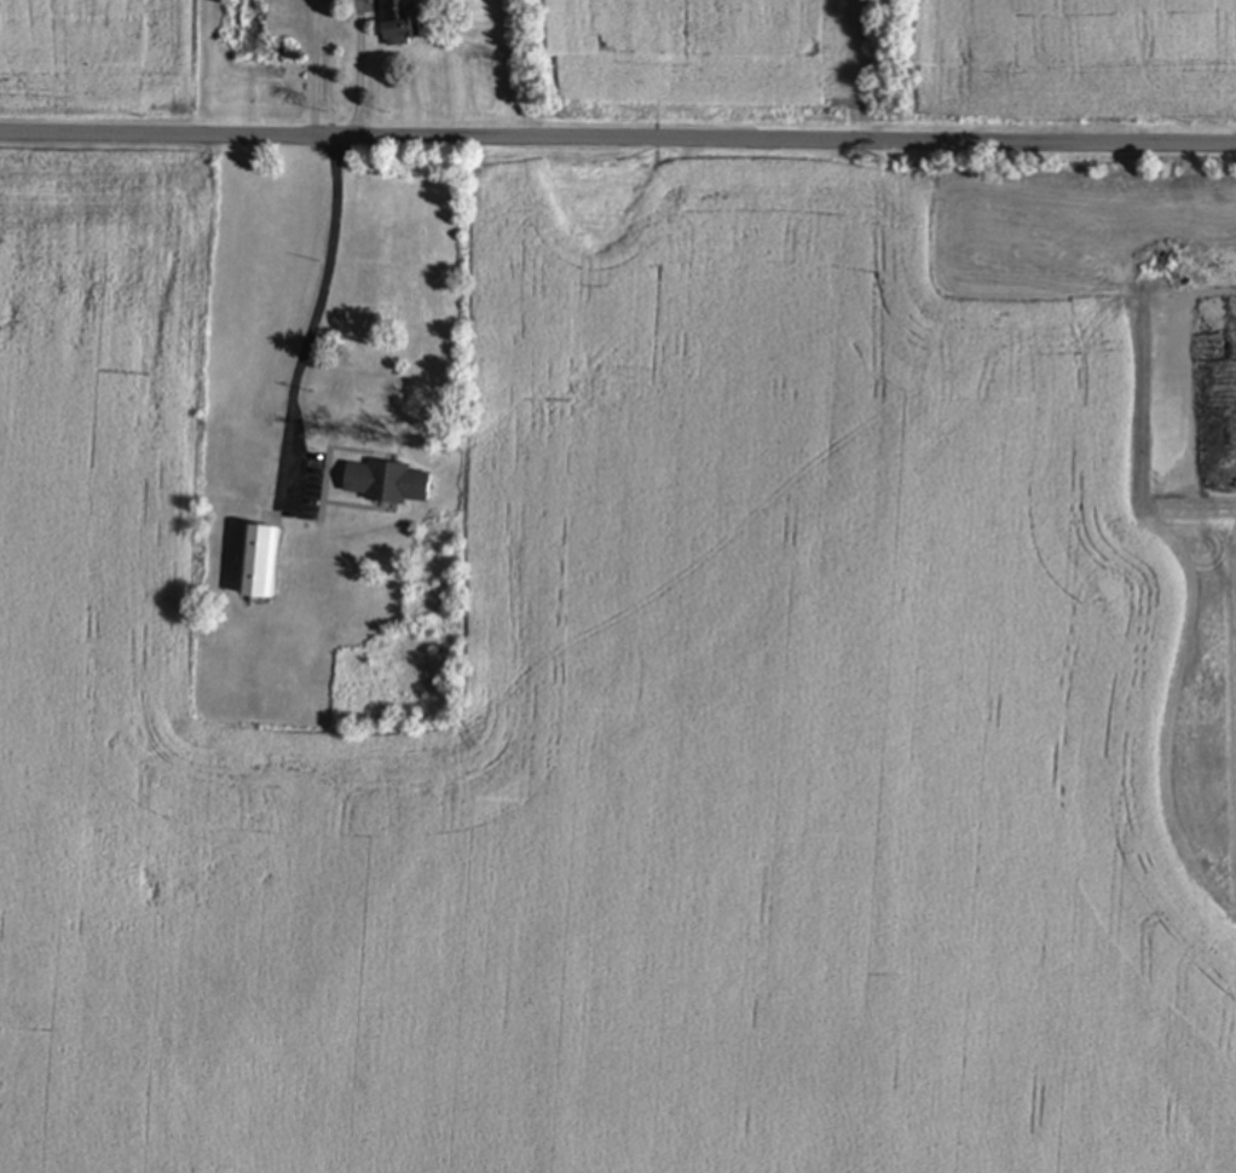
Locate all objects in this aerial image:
building: (400, 24)
building: (255, 36)
road: (316, 68)
road: (360, 69)
road: (617, 140)
road: (314, 313)
building: (386, 484)

